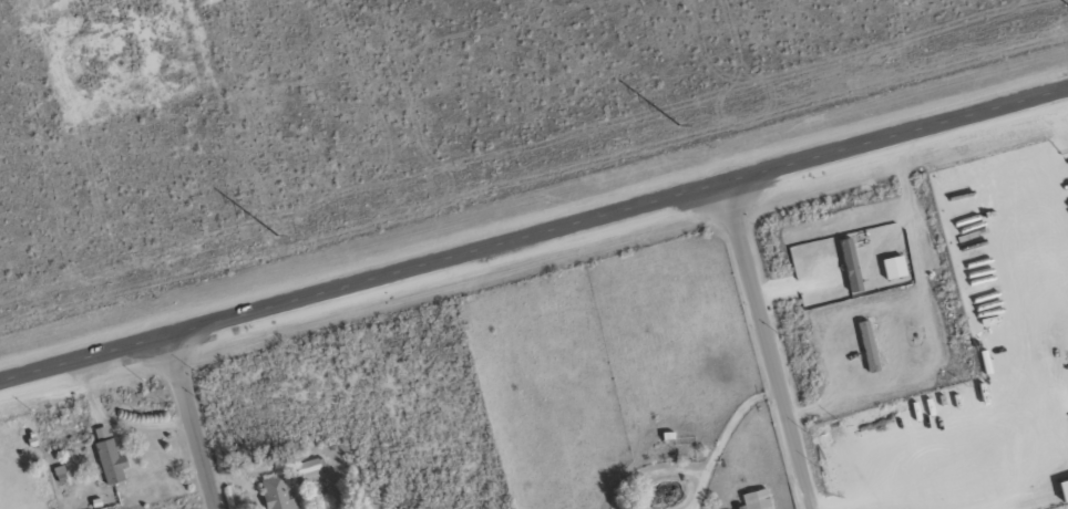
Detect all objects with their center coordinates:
power tower: (679, 124)
power tower: (276, 235)
road: (533, 236)
building: (848, 264)
building: (892, 267)
road: (768, 346)
building: (865, 346)
road: (194, 423)
building: (109, 461)
building: (306, 467)
building: (1062, 490)
building: (276, 495)
building: (754, 499)

